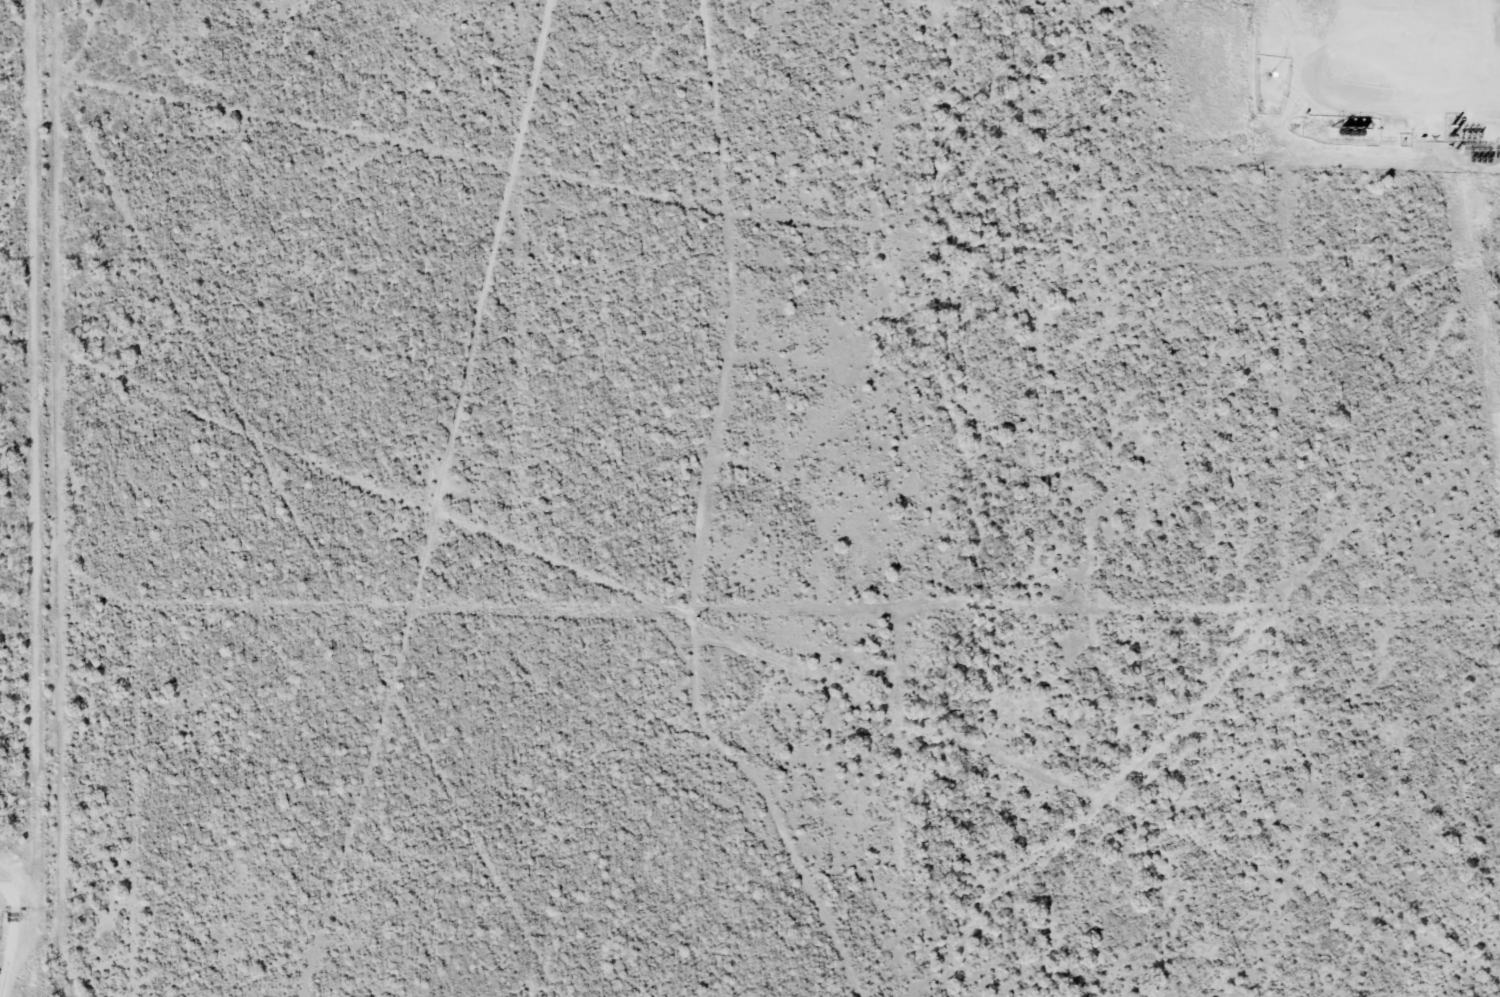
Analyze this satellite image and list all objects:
road: (1492, 54)

